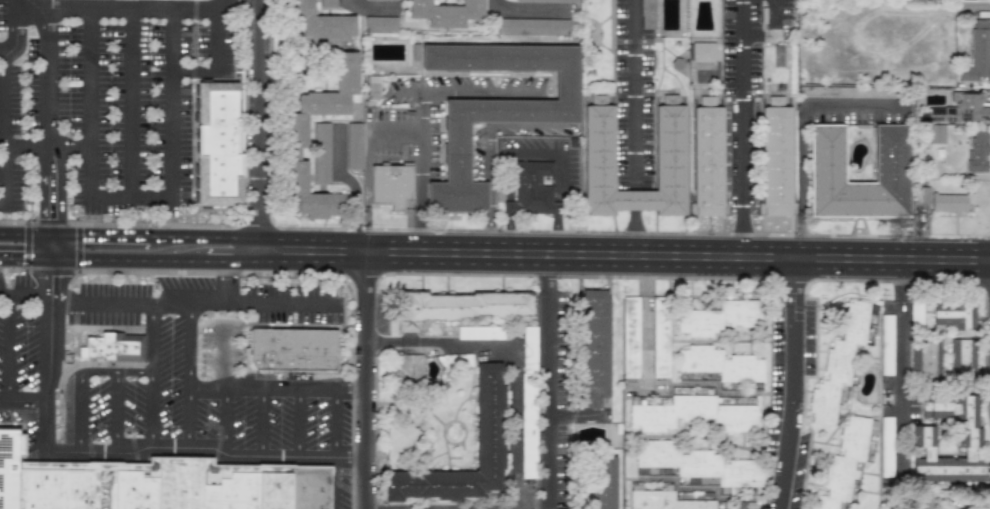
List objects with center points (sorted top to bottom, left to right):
building: (549, 1)
road: (223, 2)
building: (327, 3)
road: (123, 9)
road: (774, 11)
building: (445, 13)
building: (646, 14)
parking lot: (3, 20)
building: (320, 23)
road: (220, 37)
road: (22, 47)
building: (702, 52)
building: (977, 53)
road: (196, 71)
building: (862, 92)
road: (464, 93)
road: (88, 104)
road: (131, 104)
road: (172, 104)
road: (743, 104)
road: (634, 107)
building: (493, 108)
building: (961, 109)
parking lot: (129, 113)
road: (47, 121)
road: (261, 125)
road: (5, 127)
road: (191, 127)
building: (295, 131)
parking lot: (15, 132)
road: (397, 133)
road: (802, 134)
building: (936, 134)
road: (422, 136)
building: (217, 143)
road: (46, 145)
building: (354, 146)
building: (669, 148)
building: (977, 150)
building: (321, 152)
road: (533, 153)
building: (826, 153)
building: (706, 158)
building: (775, 158)
road: (353, 184)
building: (391, 186)
building: (531, 189)
road: (130, 198)
road: (420, 216)
road: (195, 217)
road: (232, 226)
road: (743, 232)
road: (25, 233)
road: (99, 235)
road: (634, 235)
road: (205, 236)
road: (50, 246)
road: (625, 254)
road: (25, 259)
road: (233, 259)
road: (128, 260)
road: (289, 273)
road: (51, 279)
road: (898, 279)
road: (226, 283)
road: (4, 295)
road: (29, 296)
road: (194, 303)
building: (462, 304)
building: (954, 314)
building: (720, 317)
building: (660, 337)
building: (630, 340)
road: (444, 343)
building: (592, 343)
building: (111, 345)
road: (7, 348)
building: (294, 352)
road: (988, 354)
building: (962, 357)
building: (926, 359)
building: (838, 362)
building: (719, 364)
parking lot: (208, 365)
building: (408, 370)
road: (114, 372)
road: (49, 374)
road: (149, 375)
road: (187, 375)
road: (375, 380)
road: (544, 381)
road: (900, 381)
road: (792, 383)
road: (261, 388)
road: (355, 388)
road: (22, 401)
building: (528, 402)
road: (116, 411)
road: (79, 412)
building: (690, 414)
building: (487, 416)
road: (226, 420)
road: (262, 422)
road: (300, 422)
road: (336, 422)
road: (515, 426)
building: (970, 437)
building: (399, 443)
road: (210, 448)
building: (886, 448)
building: (845, 461)
building: (700, 464)
building: (7, 466)
building: (602, 482)
building: (661, 500)
building: (923, 503)

